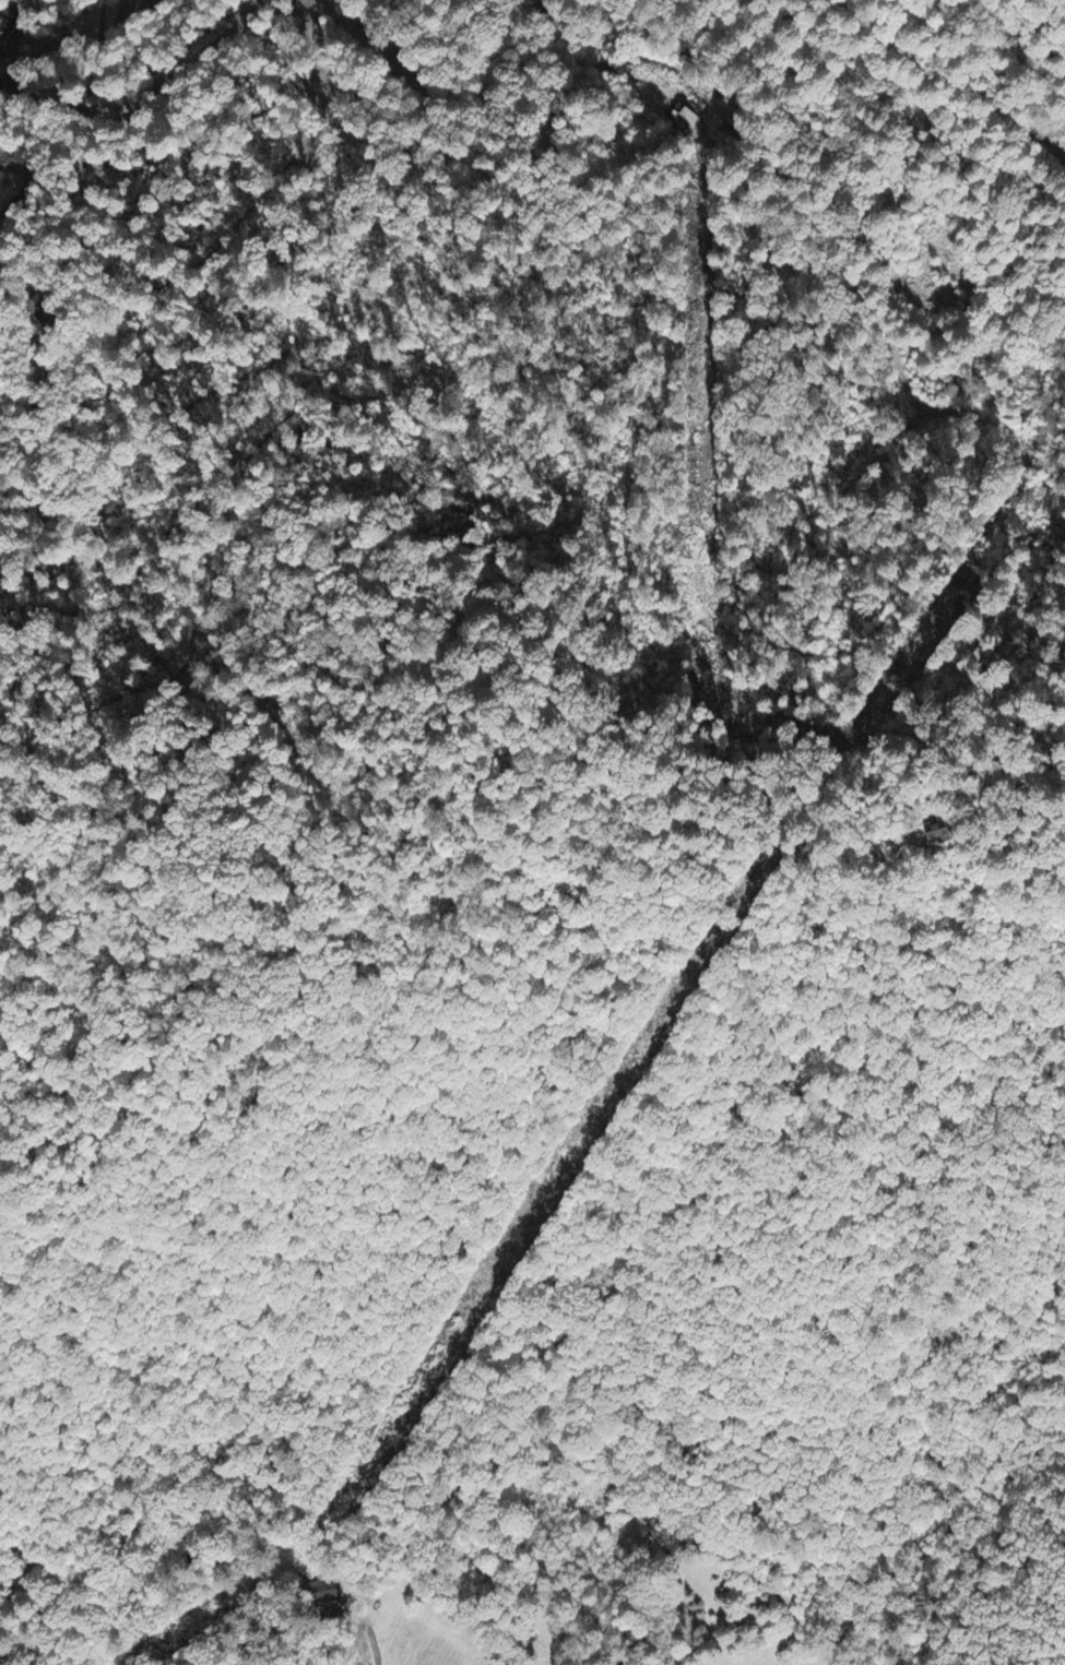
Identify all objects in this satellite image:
road: (116, 7)
road: (1022, 64)
road: (81, 69)
road: (954, 83)
building: (687, 126)
road: (801, 138)
building: (44, 309)
building: (938, 834)
road: (28, 1562)

